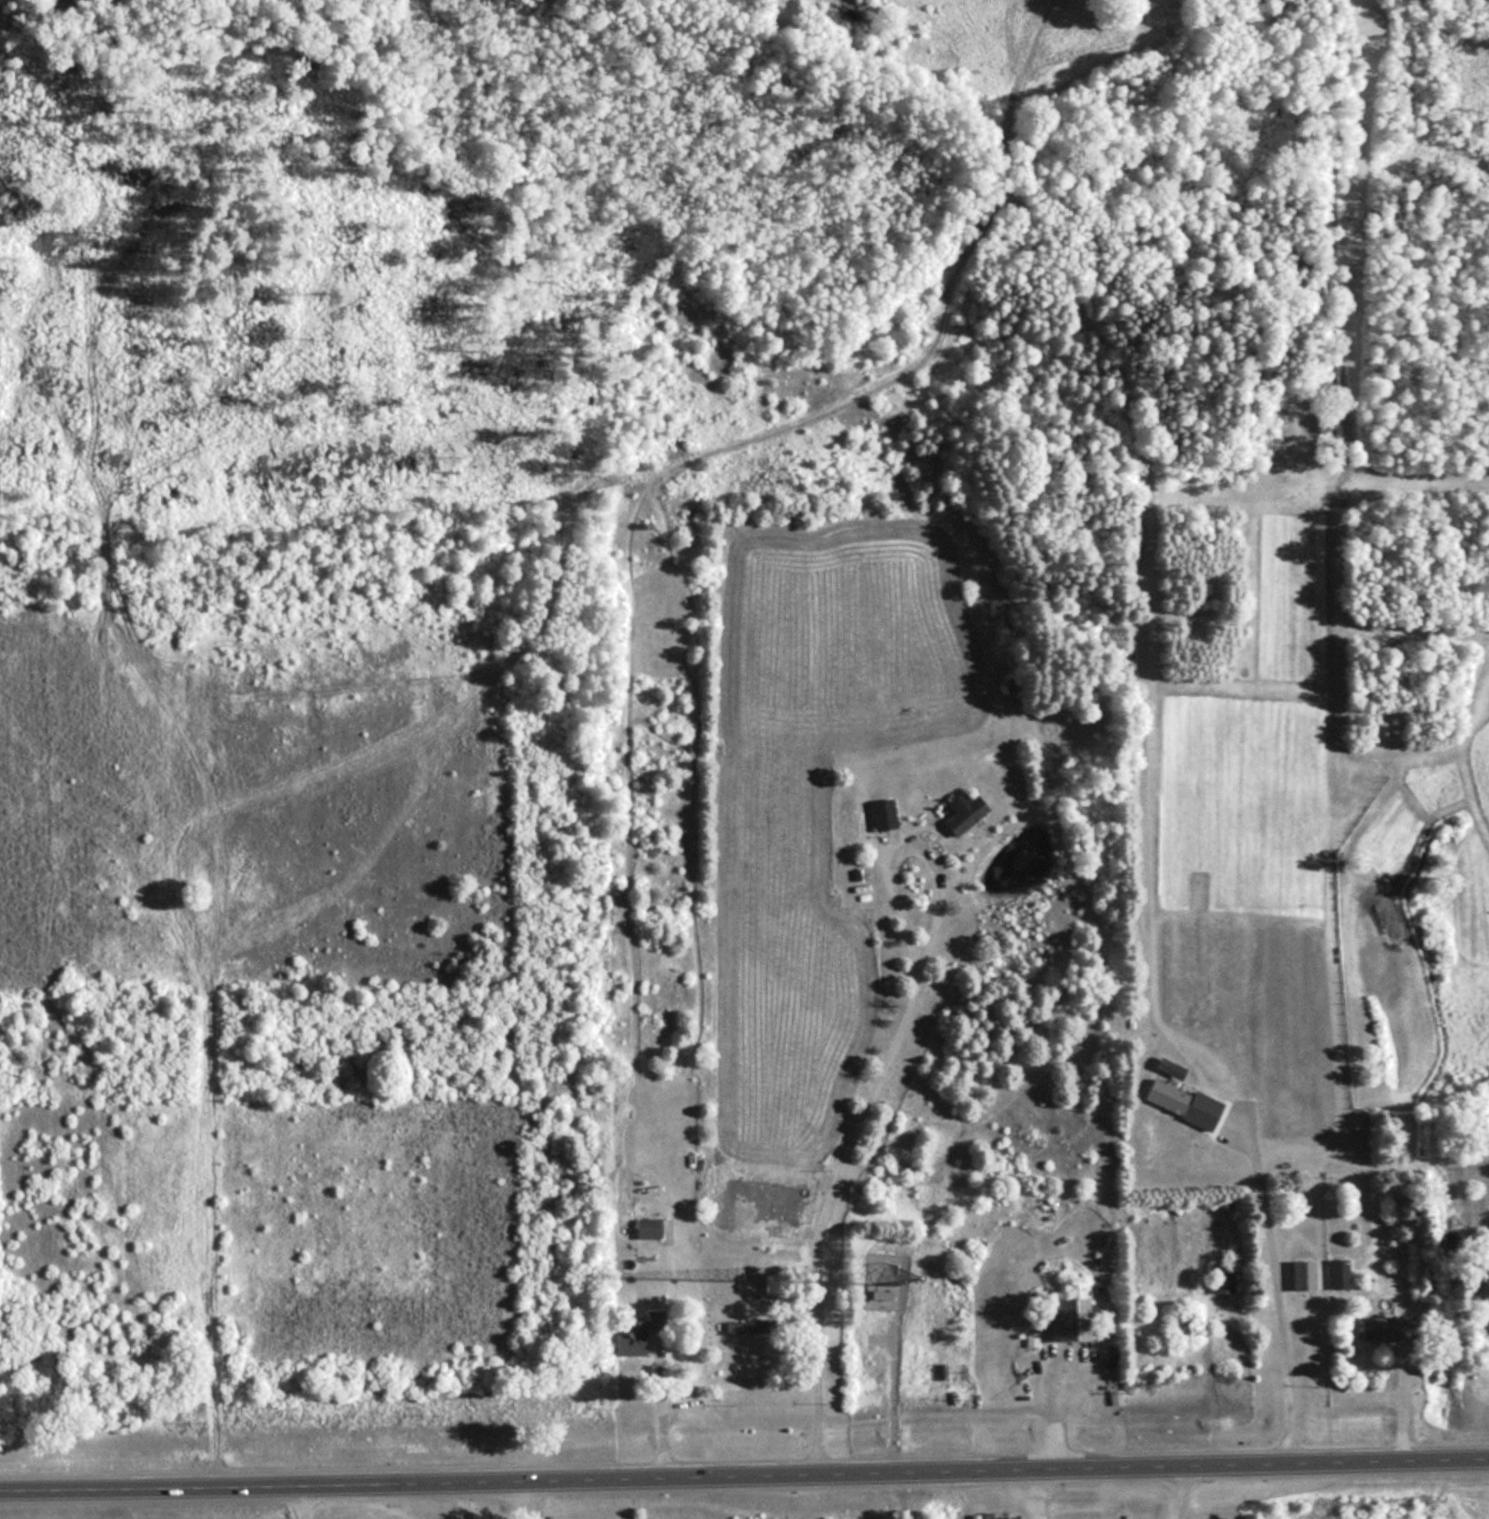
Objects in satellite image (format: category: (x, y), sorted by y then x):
park: (545, 575)
building: (958, 812)
building: (880, 814)
road: (874, 1076)
building: (1176, 1102)
building: (643, 1227)
building: (1298, 1273)
building: (1217, 1277)
road: (1272, 1282)
building: (1062, 1313)
building: (1172, 1323)
building: (742, 1326)
building: (1383, 1327)
building: (632, 1336)
road: (888, 1393)
road: (1398, 1402)
road: (655, 1407)
road: (1053, 1408)
road: (744, 1472)
road: (1171, 1490)
road: (1017, 1492)
road: (461, 1497)

